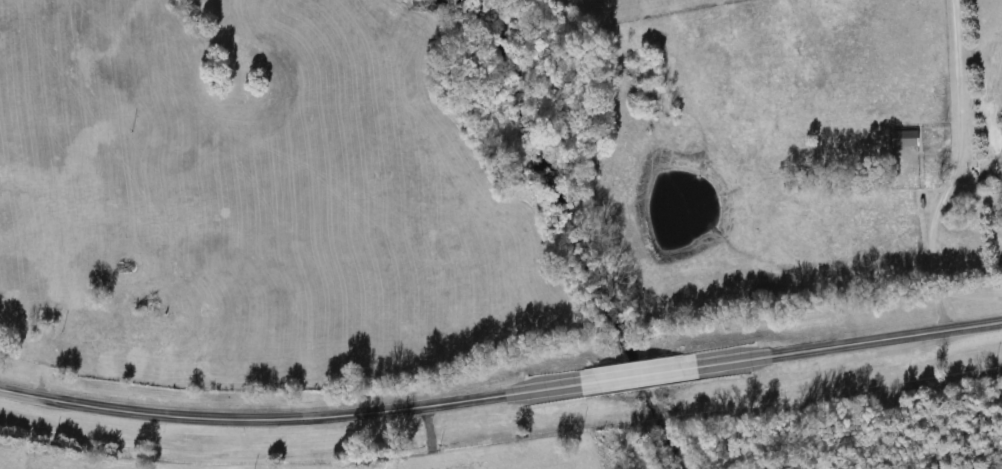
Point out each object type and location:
building: (902, 137)
road: (949, 167)
road: (501, 393)

